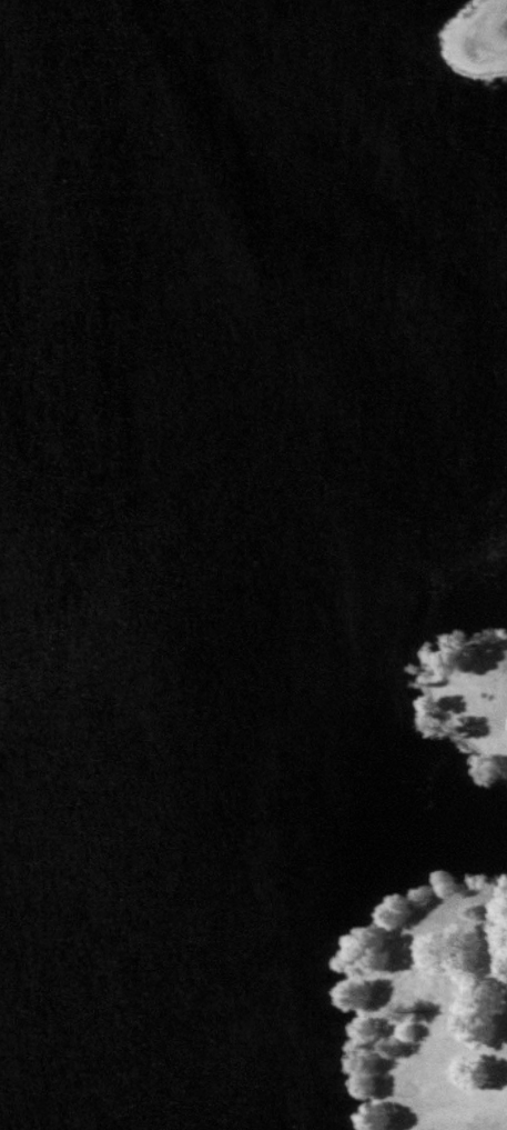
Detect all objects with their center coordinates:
road: (473, 42)
park: (253, 564)

